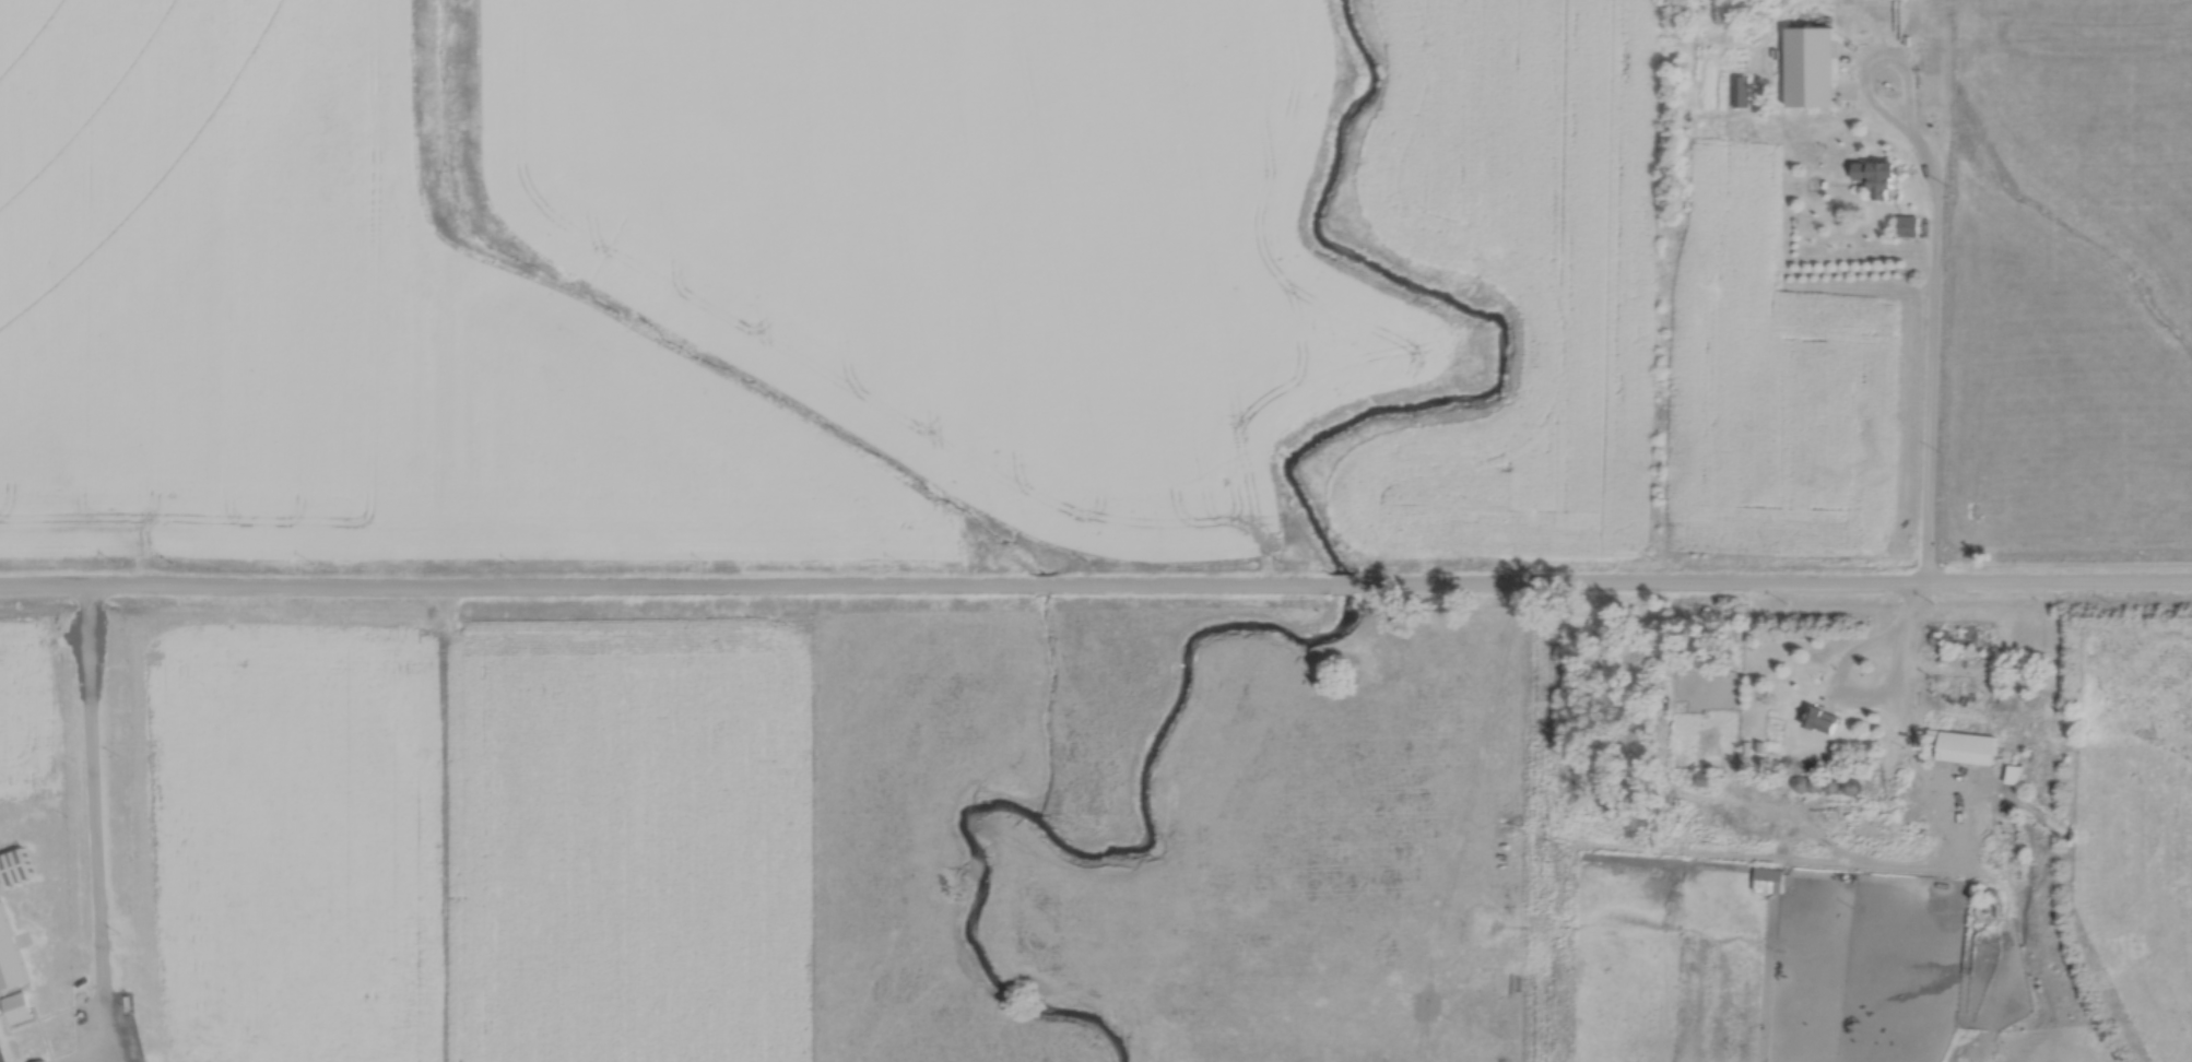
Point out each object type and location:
building: (1815, 64)
building: (1878, 177)
building: (1909, 225)
crop: (983, 234)
crop: (1518, 273)
road: (1932, 358)
crop: (1777, 390)
road: (667, 583)
road: (1344, 586)
road: (1772, 586)
river: (1347, 605)
road: (1878, 700)
building: (1824, 720)
building: (1970, 747)
road: (95, 824)
airport: (85, 865)
airport hangar: (15, 866)
building: (15, 866)
airport taxiway: (0, 873)
building: (1769, 880)
building: (17, 1006)
building: (40, 1060)

